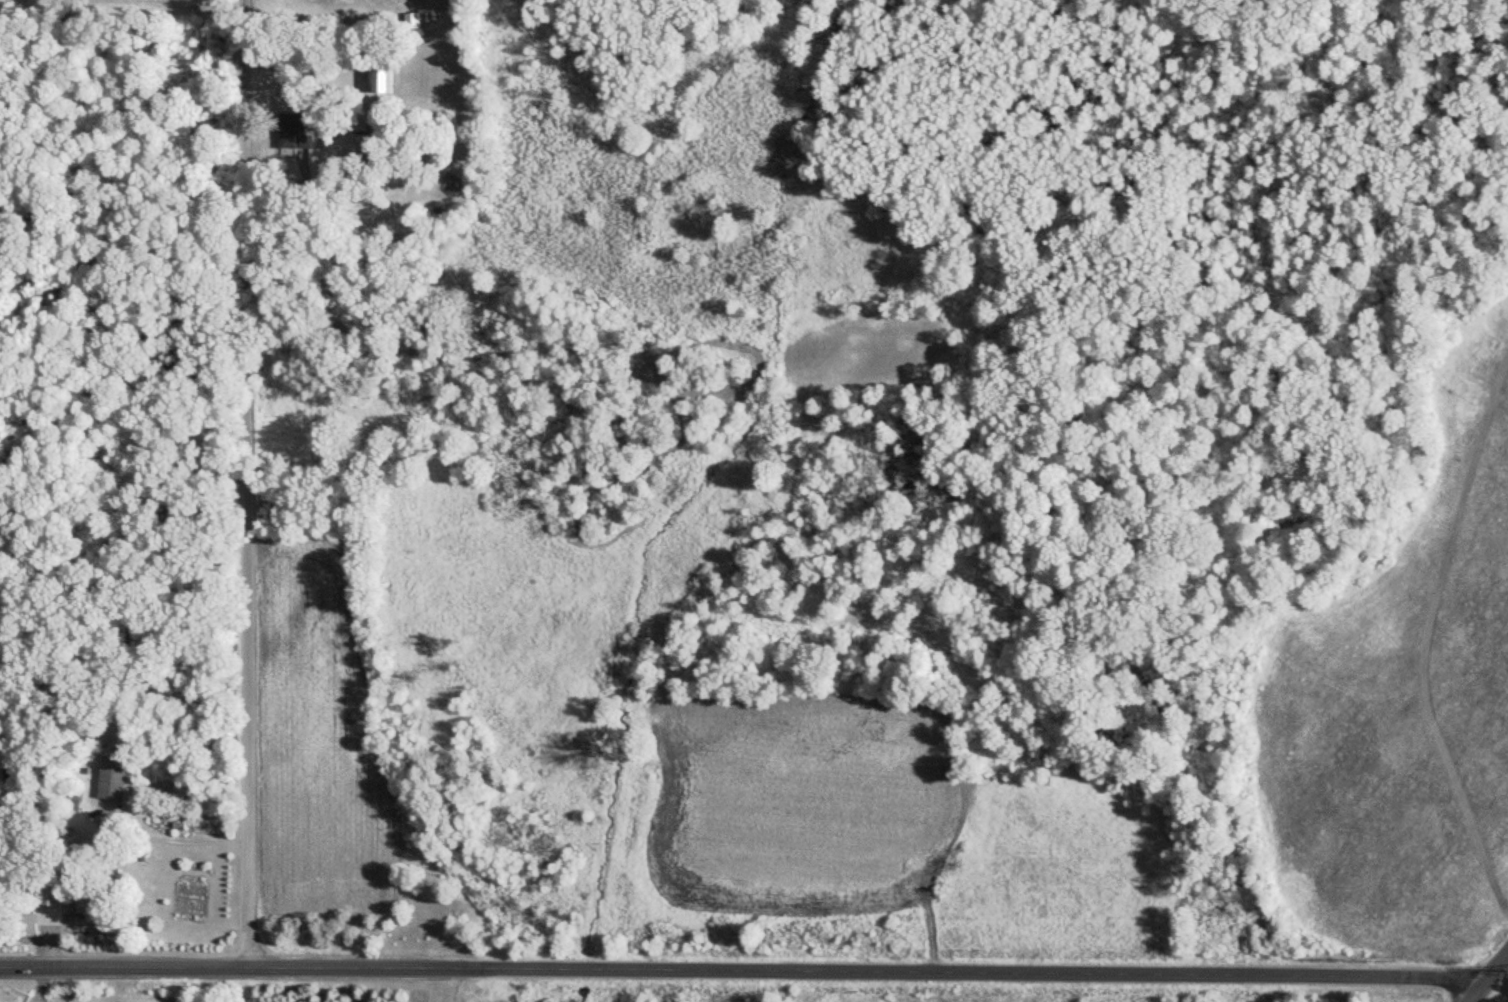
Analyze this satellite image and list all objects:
building: (410, 23)
building: (380, 79)
road: (243, 482)
building: (108, 789)
road: (167, 836)
building: (89, 914)
building: (26, 929)
road: (738, 969)
road: (1485, 972)
road: (39, 983)

